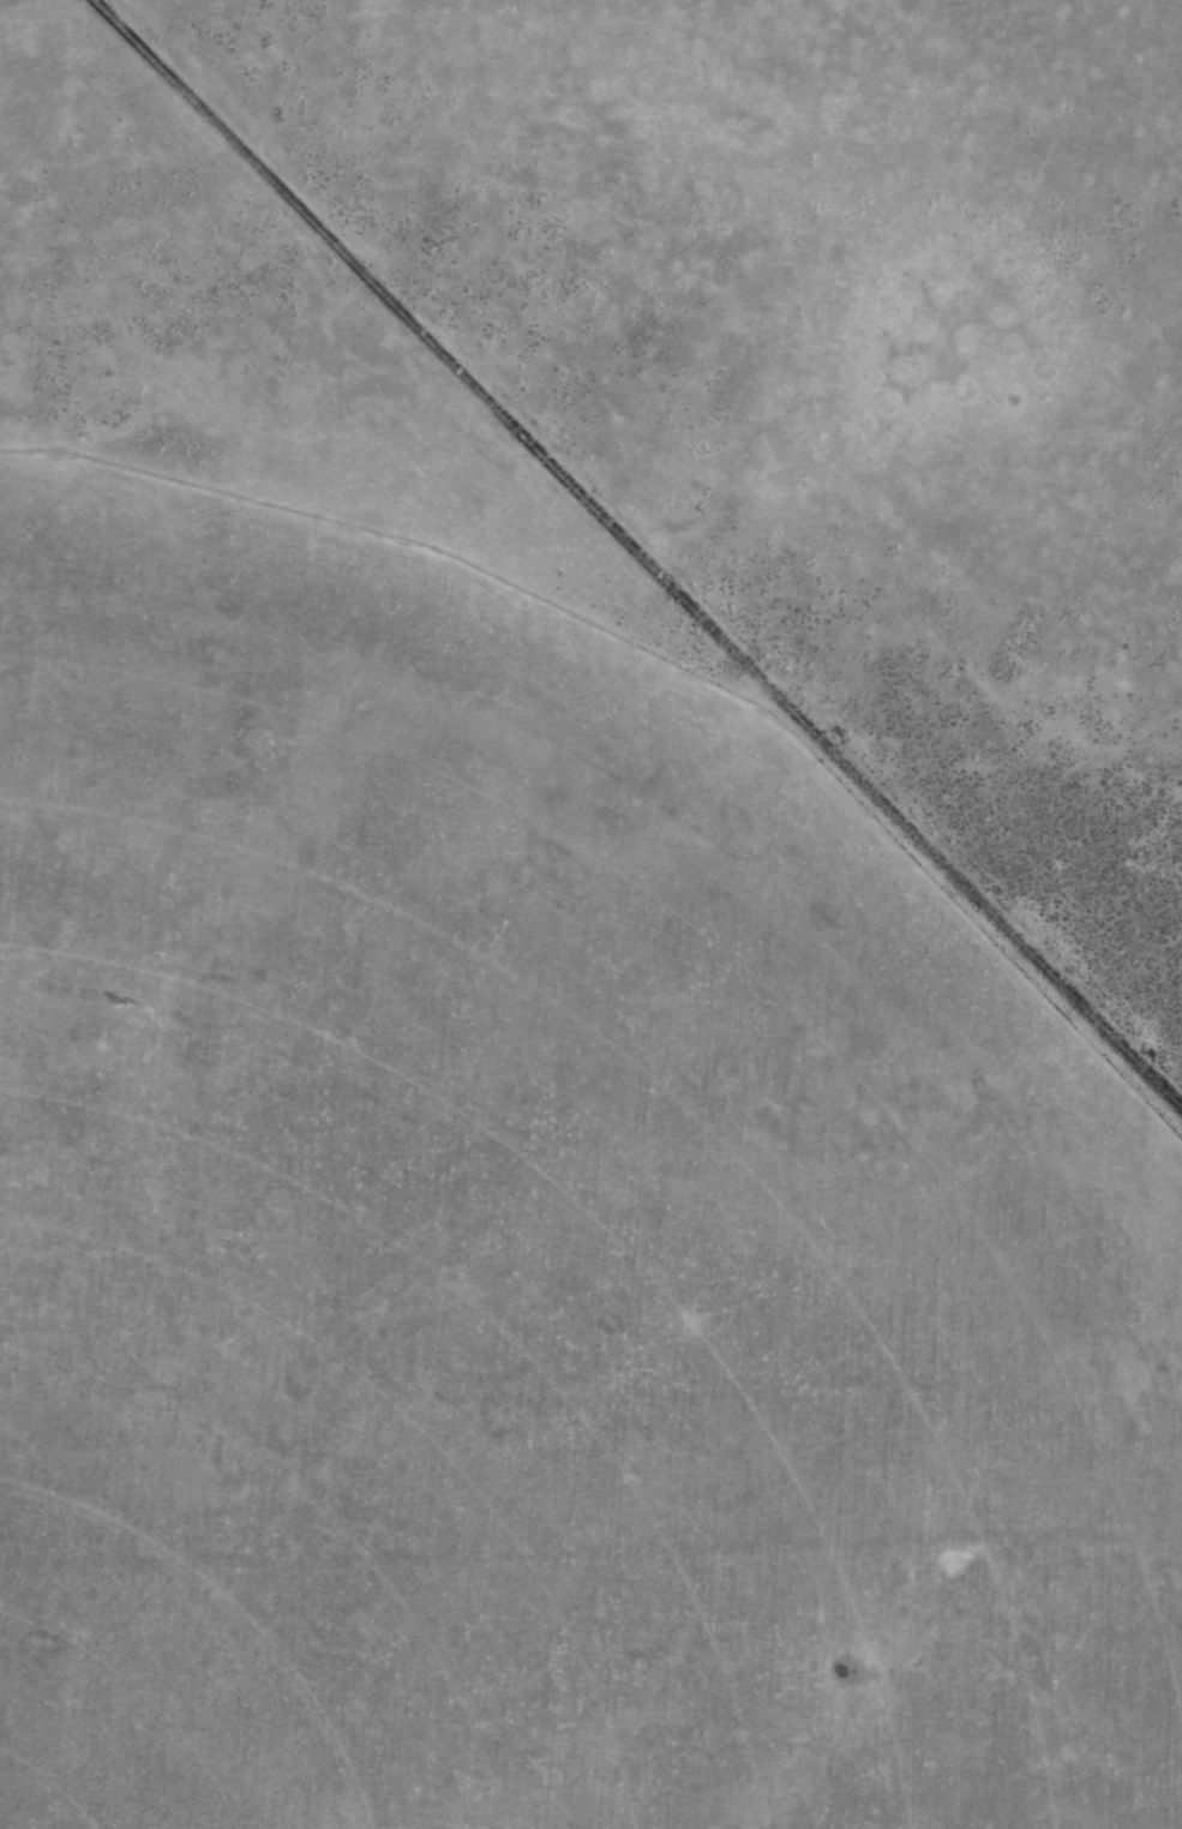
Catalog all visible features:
railway: (637, 556)
crop: (590, 914)

